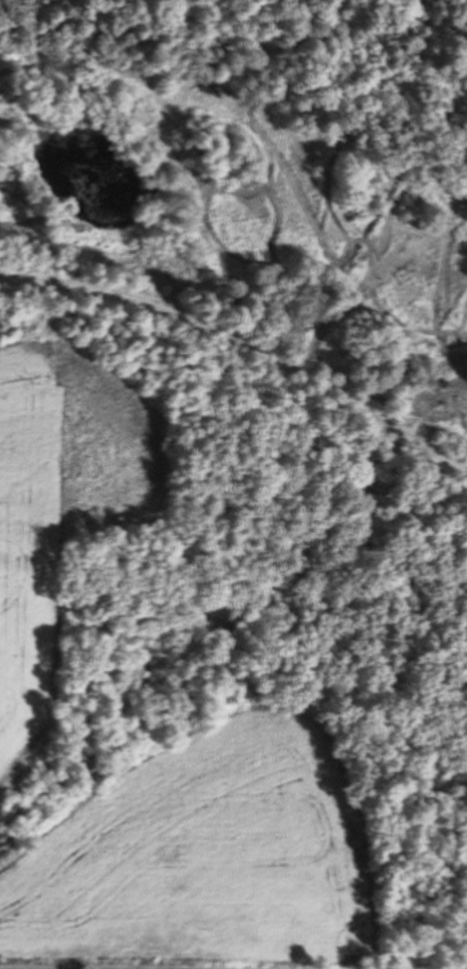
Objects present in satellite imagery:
road: (245, 344)

